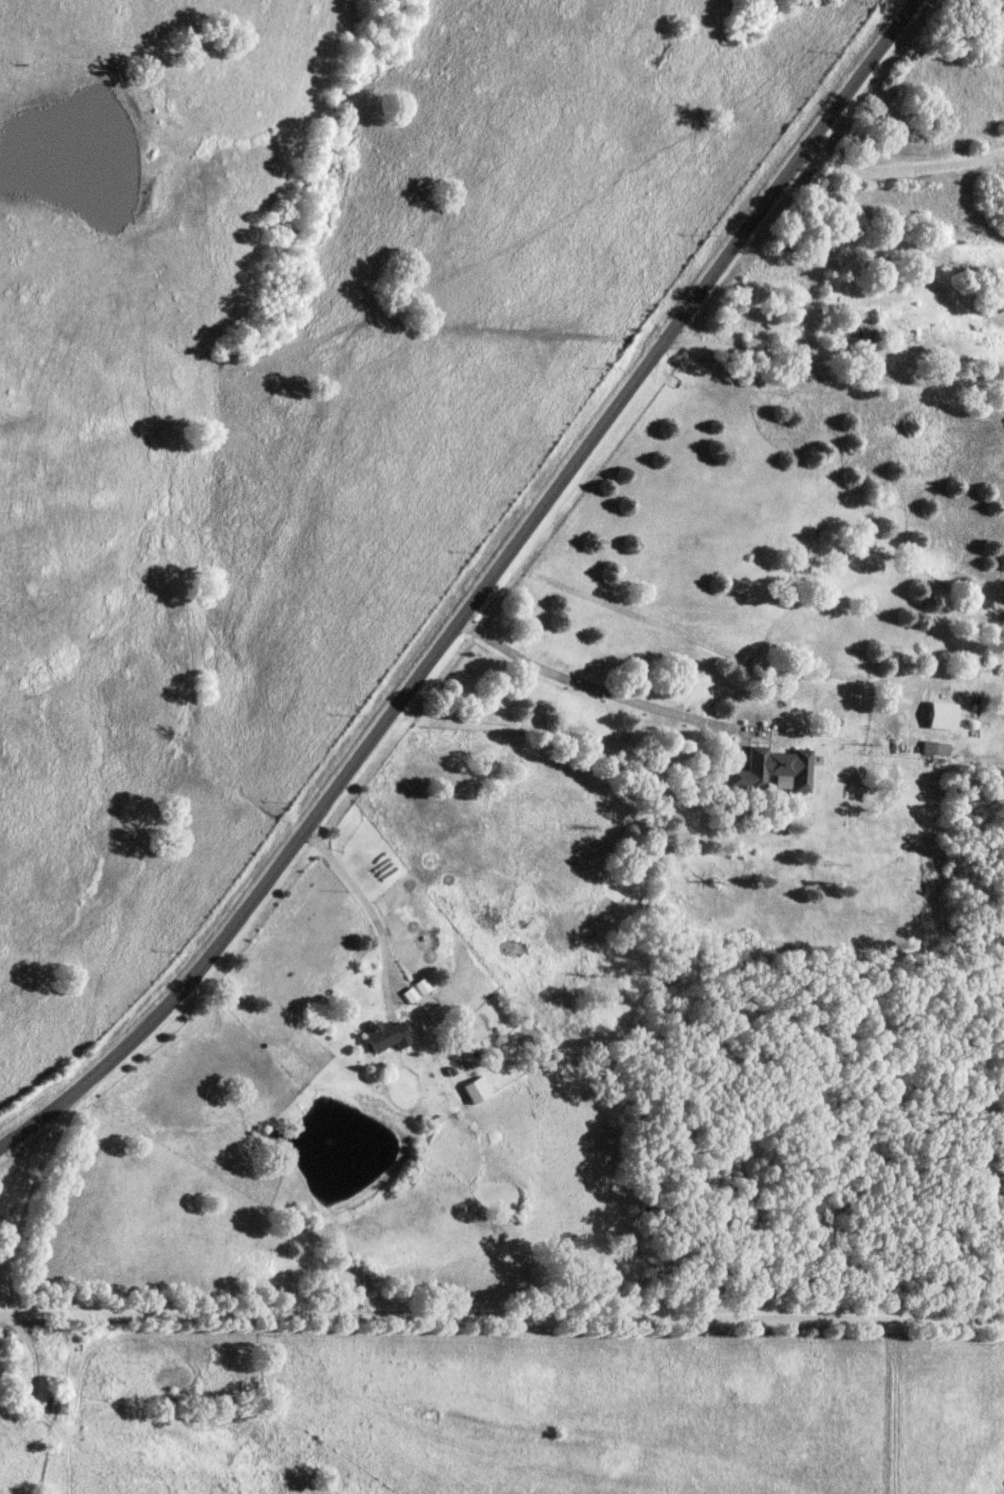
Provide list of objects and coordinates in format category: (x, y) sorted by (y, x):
road: (718, 61)
road: (900, 169)
road: (832, 353)
road: (479, 593)
road: (599, 689)
building: (948, 716)
building: (939, 749)
building: (778, 771)
road: (369, 909)
building: (389, 1036)
building: (479, 1091)
road: (28, 1197)
road: (501, 1331)

